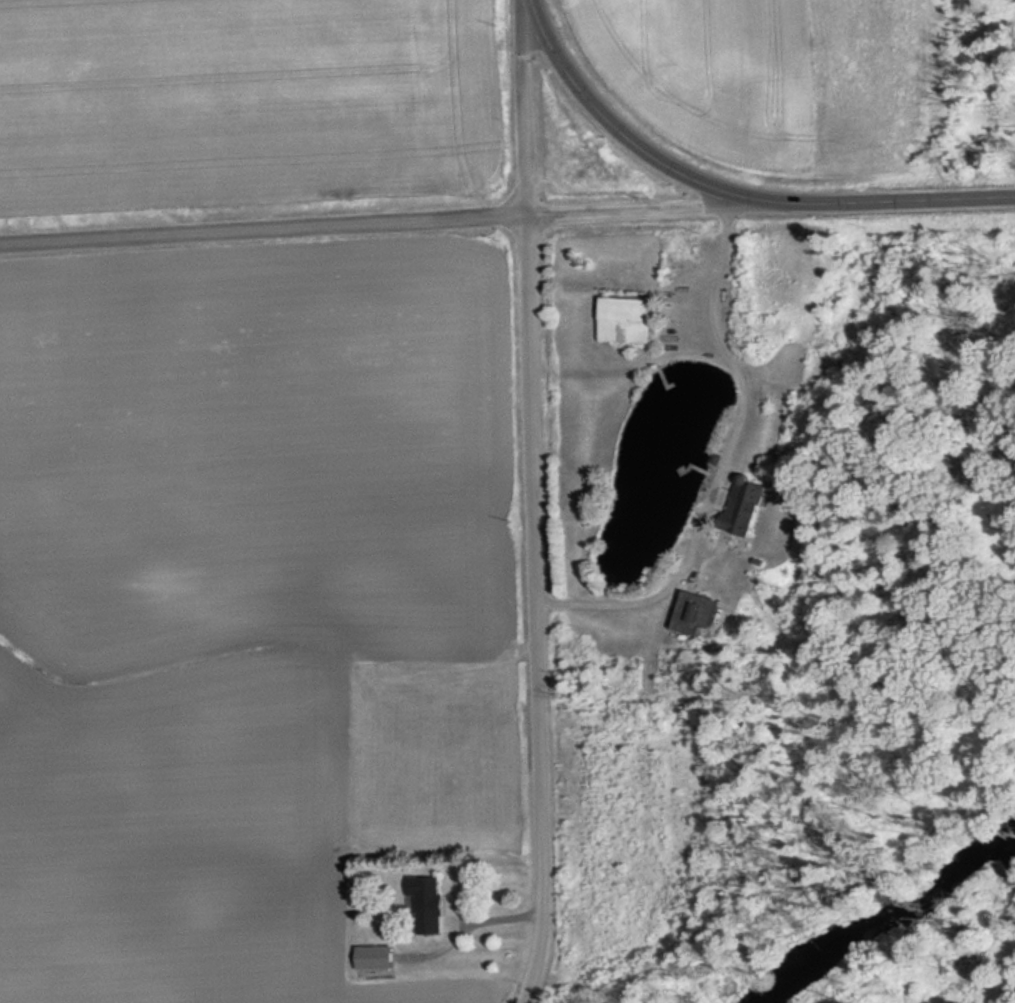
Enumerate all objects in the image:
road: (532, 106)
road: (734, 188)
road: (660, 208)
road: (267, 227)
building: (620, 320)
building: (739, 508)
road: (547, 609)
building: (683, 614)
building: (424, 905)
river: (900, 922)
building: (370, 959)

